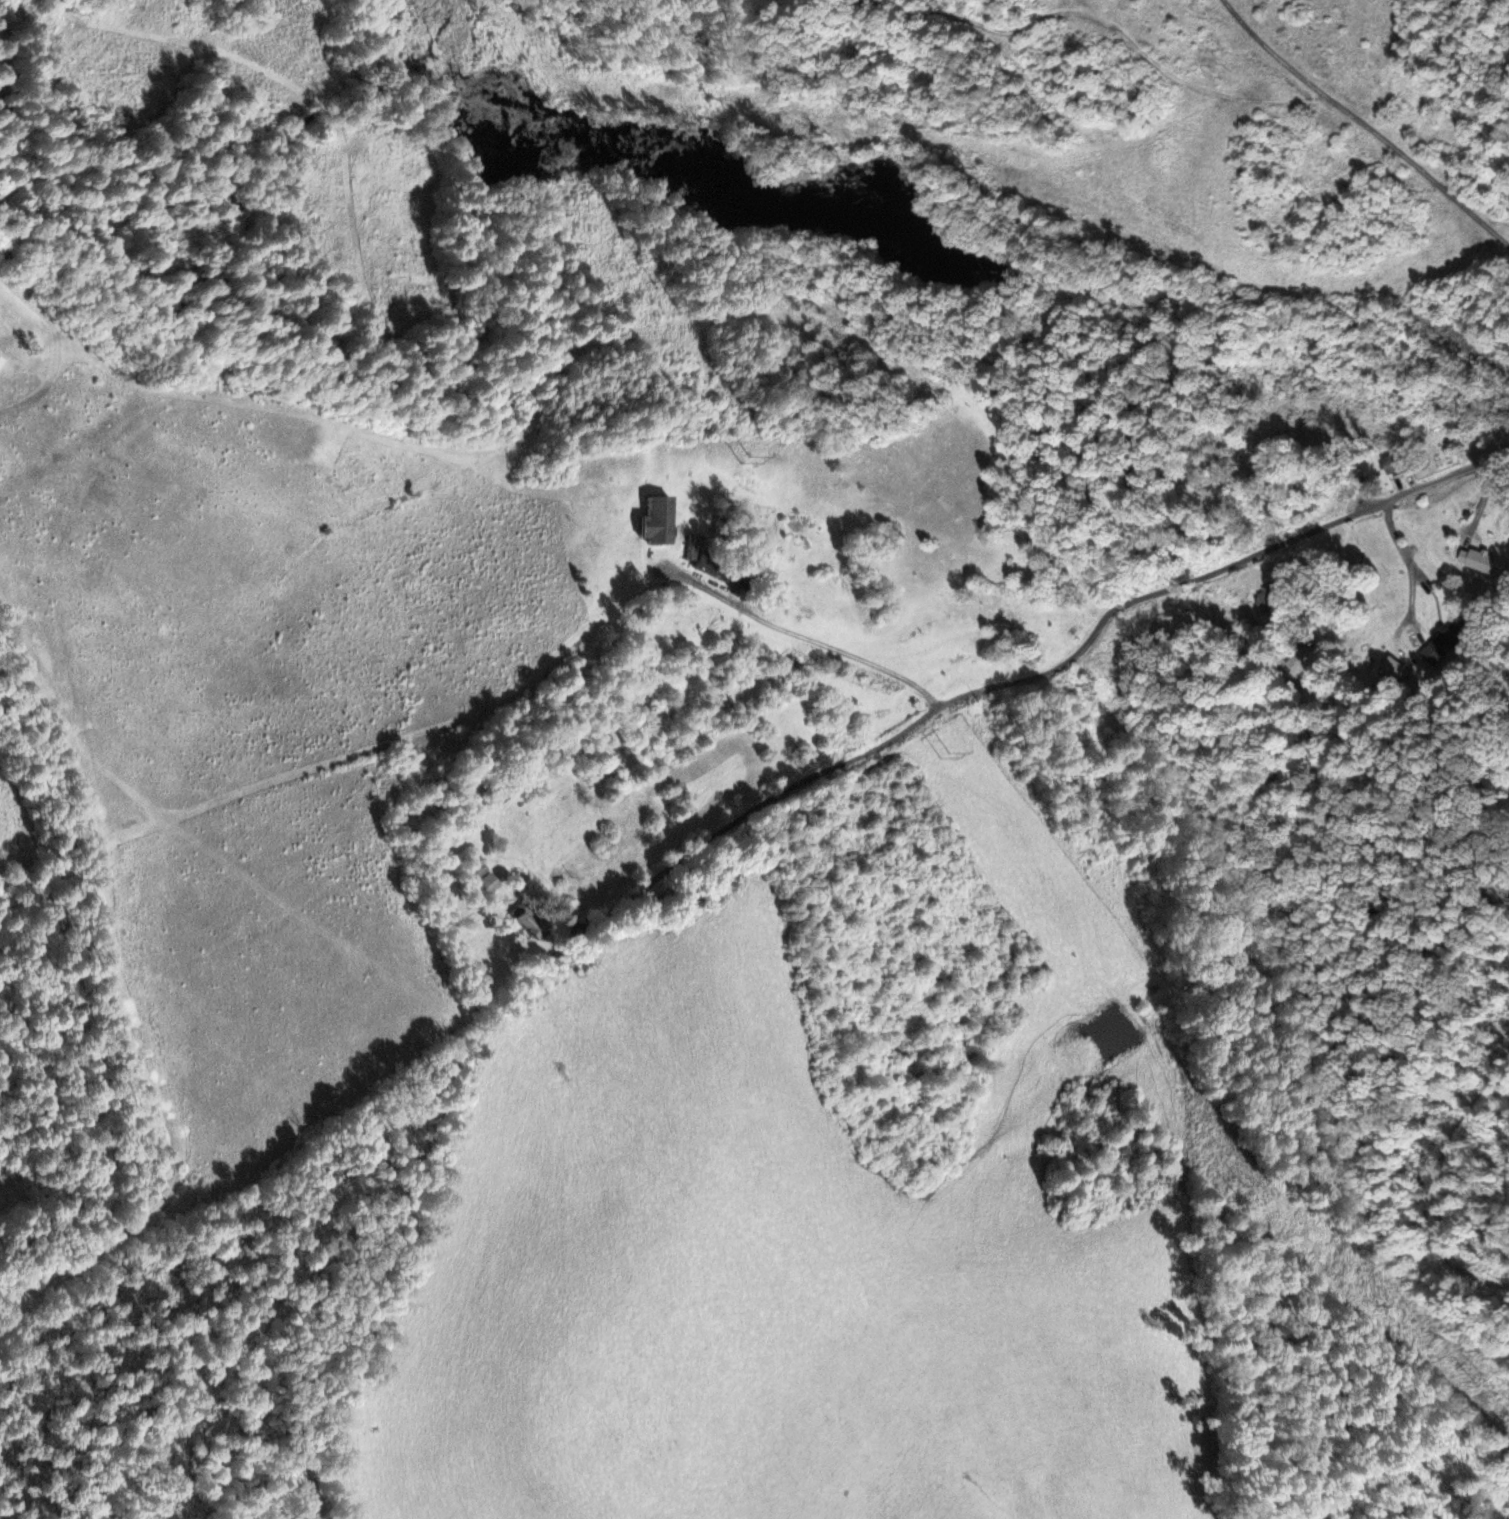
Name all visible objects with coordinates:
building: (1, 363)
building: (1396, 463)
building: (656, 521)
road: (1310, 527)
building: (691, 548)
building: (1476, 560)
building: (1268, 601)
building: (1449, 638)
road: (770, 801)
building: (528, 841)
building: (526, 926)

